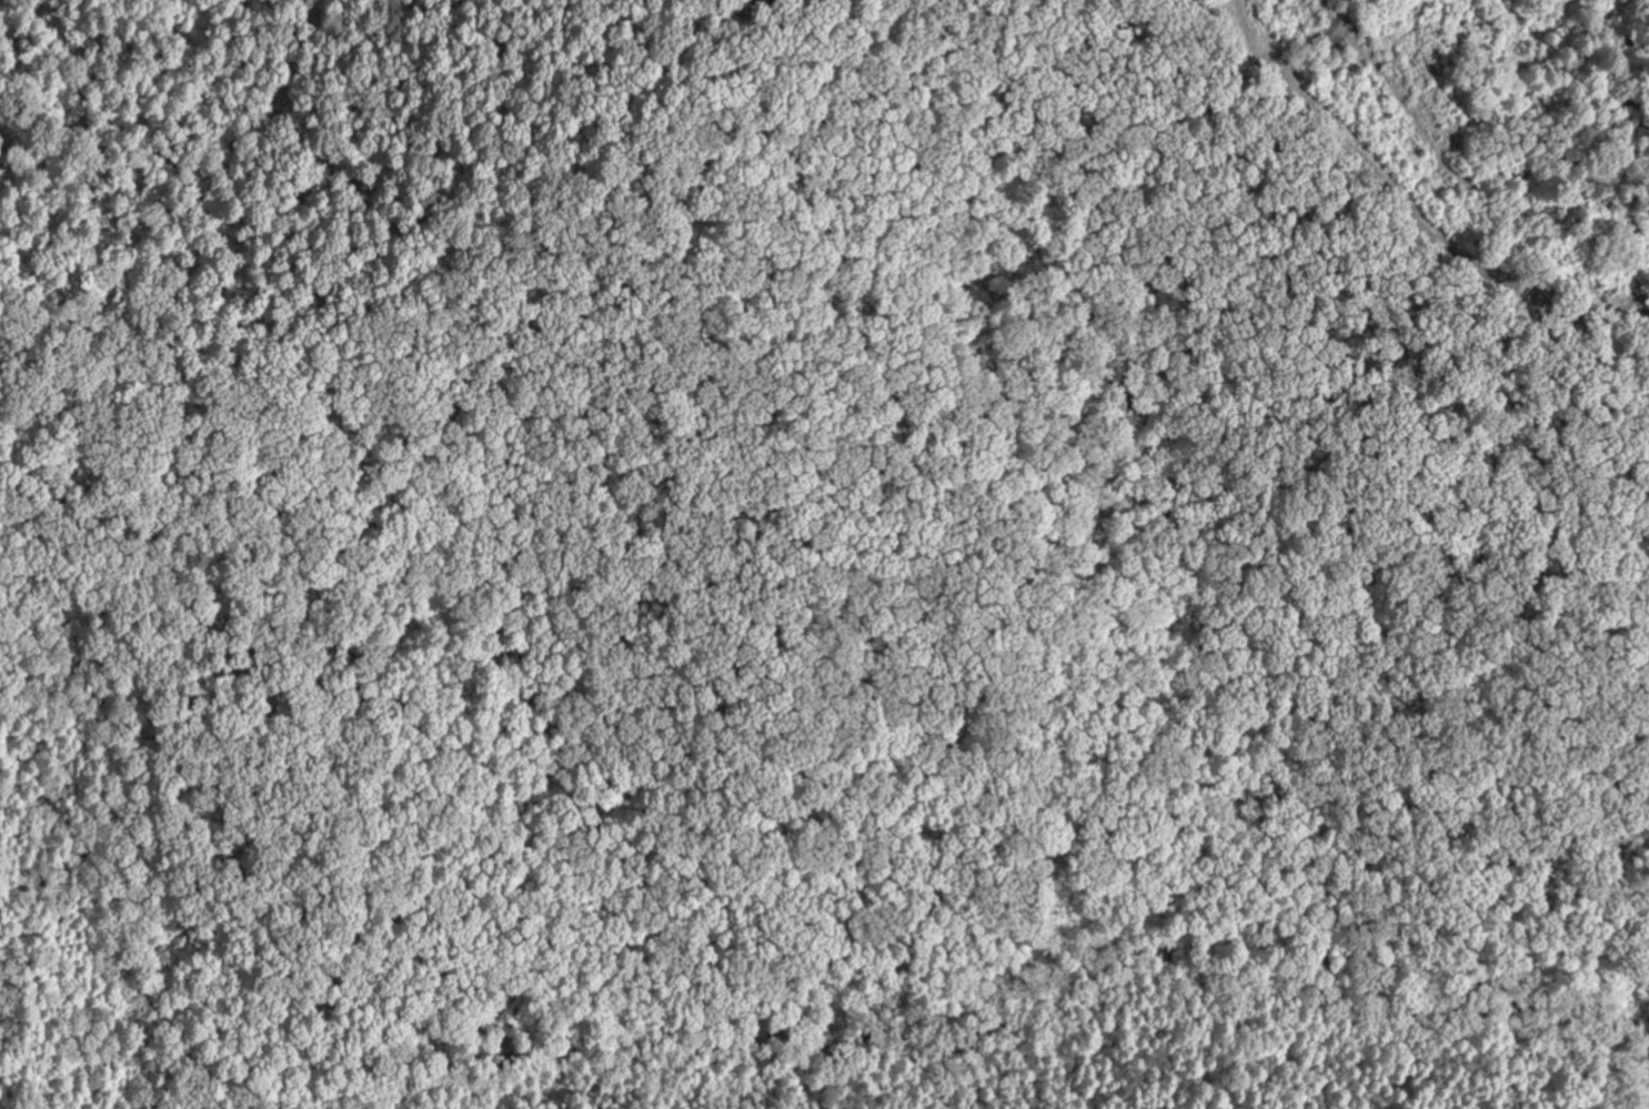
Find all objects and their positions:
road: (1429, 208)

